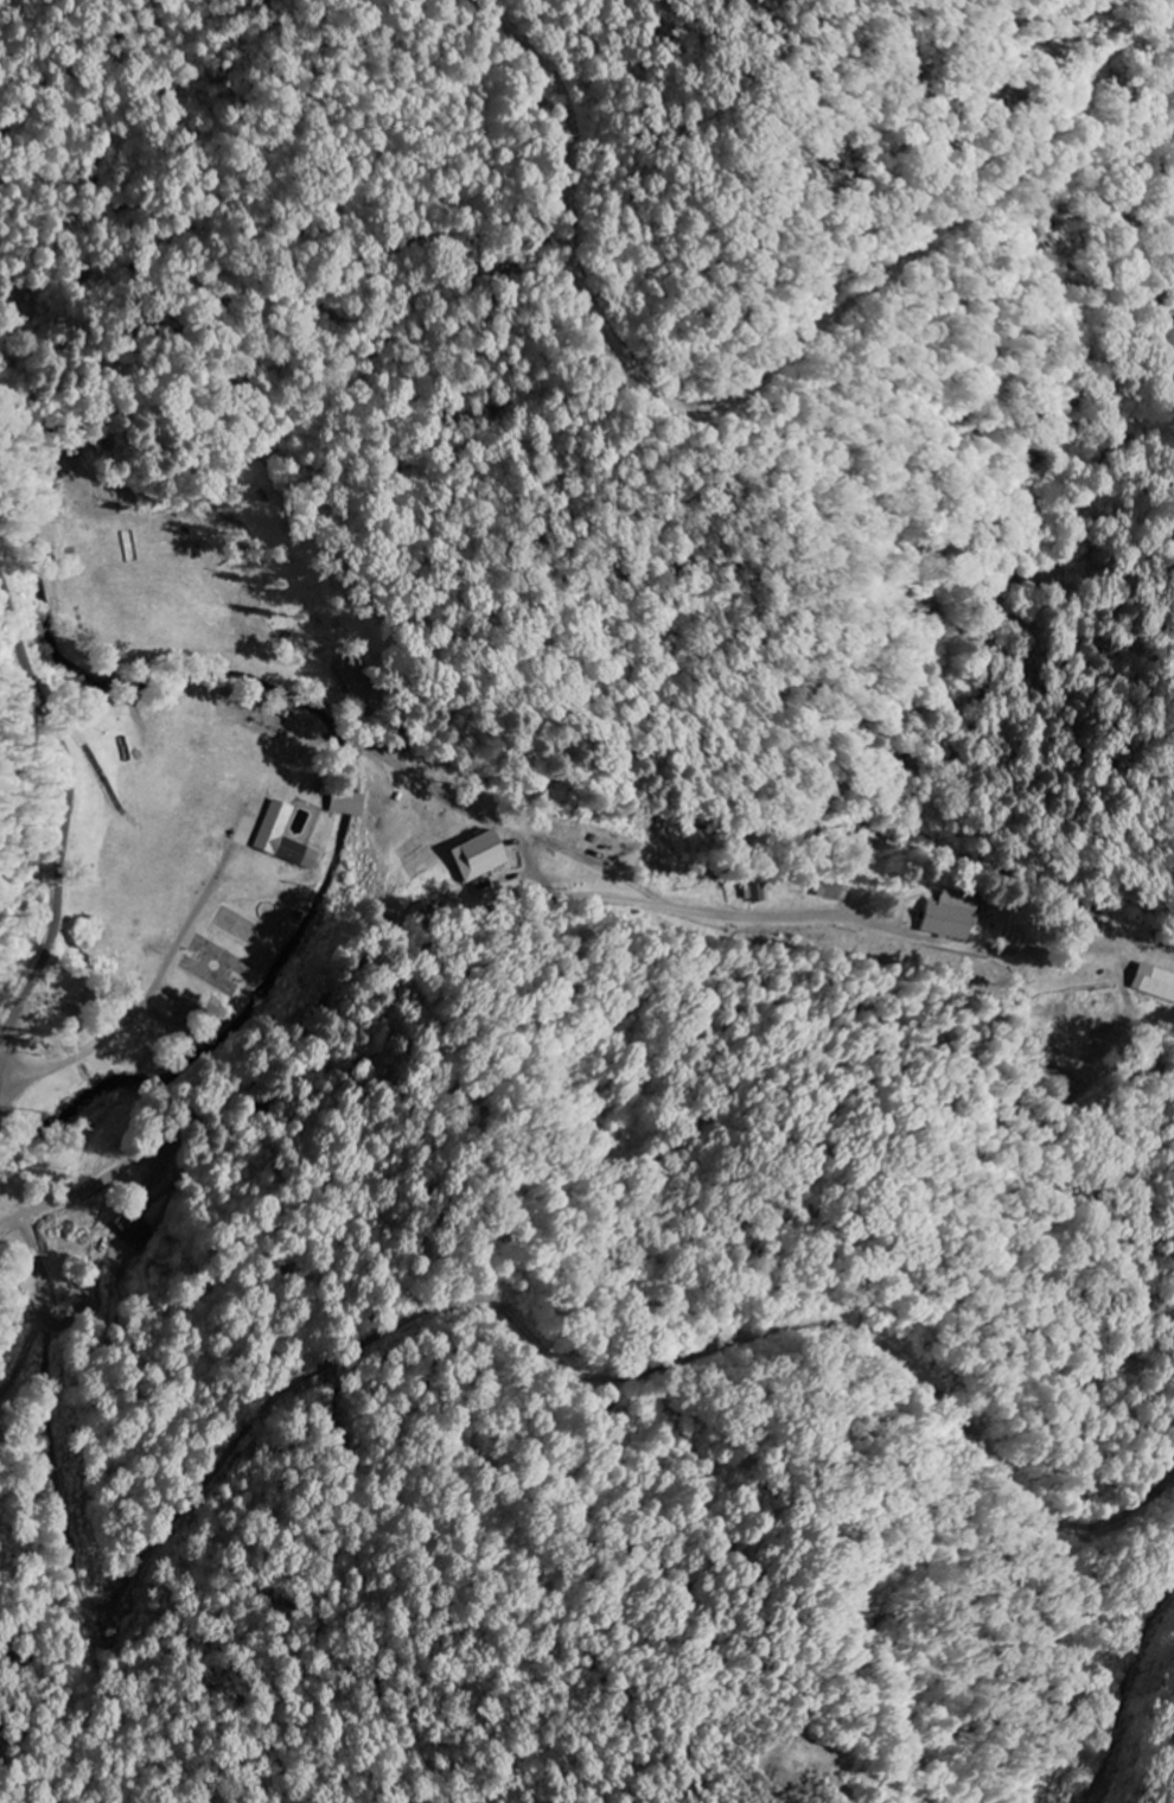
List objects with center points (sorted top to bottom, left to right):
building: (346, 804)
road: (66, 805)
building: (279, 839)
building: (830, 892)
road: (400, 904)
building: (944, 919)
building: (1154, 983)
building: (133, 1227)

